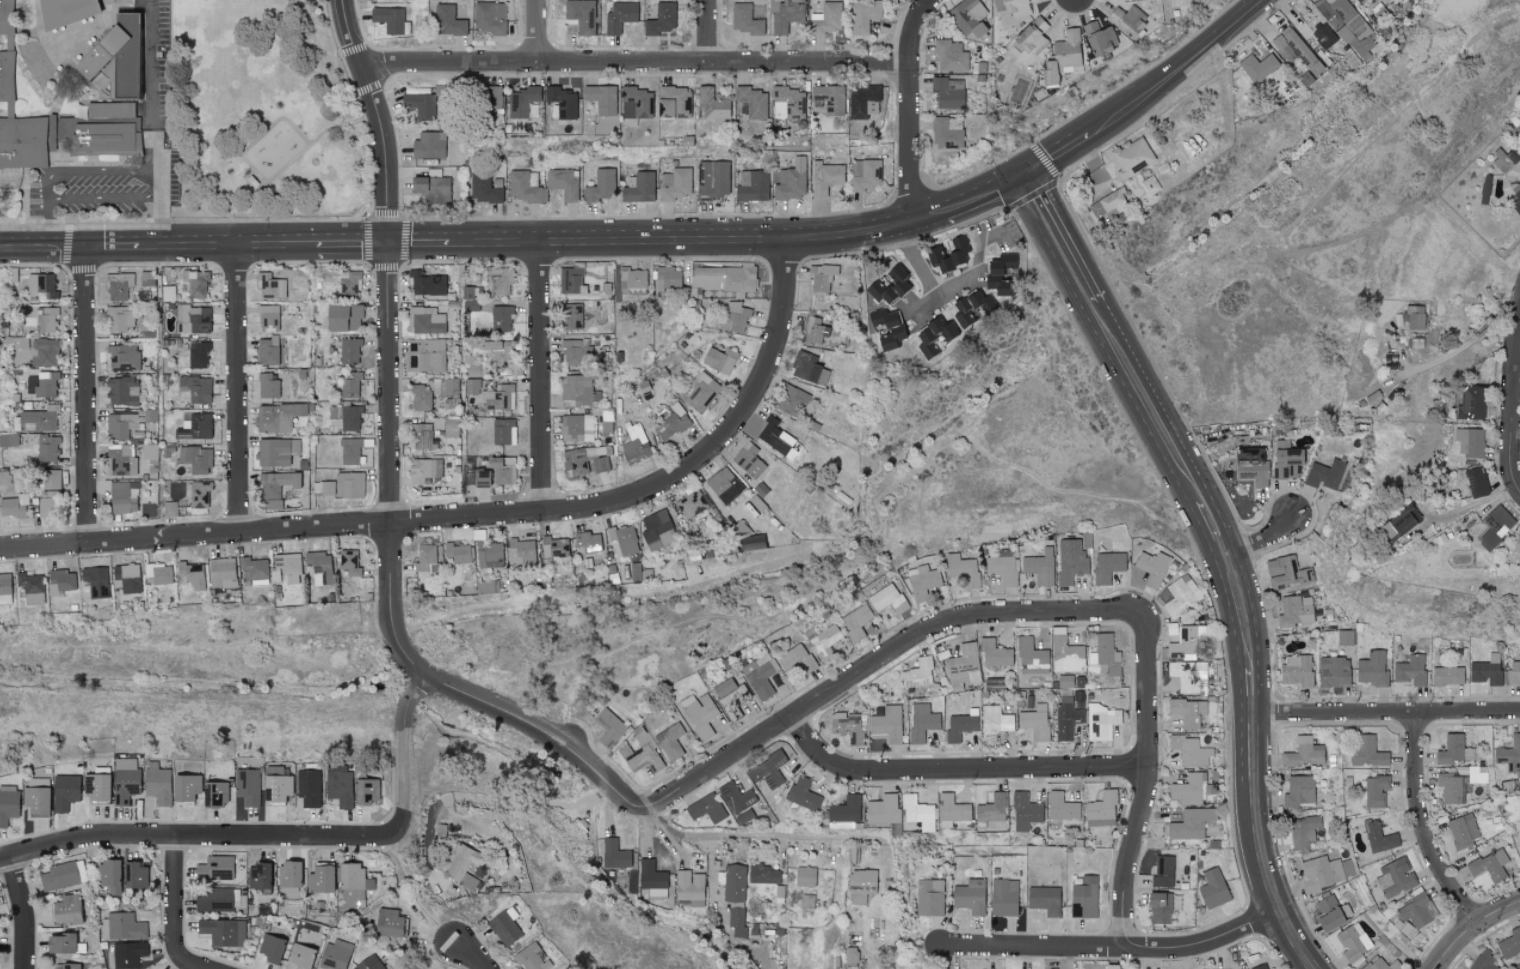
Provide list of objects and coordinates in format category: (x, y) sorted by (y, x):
building: (1360, 0)
building: (1013, 10)
building: (71, 15)
building: (581, 15)
building: (864, 15)
building: (619, 16)
building: (490, 17)
building: (786, 17)
building: (388, 18)
building: (8, 19)
building: (660, 19)
building: (744, 19)
building: (826, 19)
building: (1127, 19)
building: (448, 20)
building: (1353, 28)
road: (541, 30)
road: (708, 30)
building: (1032, 36)
building: (1099, 37)
building: (1294, 48)
building: (950, 55)
building: (1063, 57)
road: (635, 61)
building: (1258, 66)
road: (1180, 69)
building: (9, 80)
road: (151, 90)
building: (946, 95)
building: (601, 99)
building: (828, 100)
building: (522, 101)
building: (562, 102)
building: (673, 102)
building: (752, 102)
building: (864, 102)
building: (636, 103)
building: (788, 103)
building: (419, 104)
building: (492, 104)
road: (911, 106)
building: (713, 107)
park: (262, 112)
building: (90, 113)
road: (378, 118)
building: (1519, 127)
building: (946, 135)
road: (261, 136)
building: (428, 145)
road: (1051, 148)
building: (1131, 156)
building: (1505, 159)
road: (291, 161)
traffic signals: (1017, 169)
road: (101, 173)
building: (866, 174)
building: (712, 179)
building: (825, 179)
building: (251, 180)
building: (562, 183)
building: (675, 184)
building: (790, 184)
building: (599, 185)
building: (752, 186)
building: (484, 187)
building: (523, 187)
building: (430, 188)
building: (638, 188)
road: (964, 193)
road: (104, 200)
building: (1106, 202)
building: (1515, 203)
road: (161, 222)
road: (49, 224)
road: (680, 241)
road: (352, 243)
traffic signals: (388, 243)
road: (417, 243)
road: (201, 245)
road: (24, 247)
road: (67, 247)
building: (948, 254)
building: (999, 273)
building: (822, 276)
building: (144, 278)
building: (632, 278)
building: (668, 278)
building: (500, 280)
building: (571, 281)
building: (349, 282)
building: (42, 284)
building: (426, 284)
building: (118, 285)
building: (196, 285)
building: (272, 286)
building: (889, 286)
road: (946, 294)
building: (972, 307)
building: (570, 316)
building: (342, 317)
building: (1414, 317)
building: (120, 318)
building: (268, 318)
building: (501, 318)
building: (735, 318)
building: (47, 319)
building: (193, 319)
building: (425, 320)
building: (885, 327)
building: (814, 331)
building: (935, 337)
building: (18, 342)
building: (1416, 342)
building: (349, 350)
building: (45, 352)
building: (271, 352)
building: (498, 352)
building: (572, 352)
building: (198, 355)
building: (424, 356)
building: (124, 358)
building: (718, 359)
building: (808, 368)
road: (540, 379)
building: (42, 384)
building: (351, 385)
building: (268, 386)
building: (472, 387)
building: (197, 389)
road: (237, 390)
building: (123, 391)
building: (578, 391)
building: (703, 392)
road: (88, 396)
building: (420, 397)
building: (497, 397)
building: (791, 400)
building: (1471, 403)
building: (346, 417)
building: (37, 421)
building: (671, 421)
building: (120, 425)
road: (1515, 425)
building: (194, 426)
building: (451, 427)
building: (577, 428)
building: (500, 430)
building: (421, 435)
building: (775, 437)
building: (8, 440)
building: (1469, 442)
building: (635, 444)
building: (48, 448)
building: (150, 451)
building: (350, 451)
building: (277, 452)
building: (122, 459)
building: (196, 459)
building: (586, 460)
building: (748, 460)
building: (1286, 461)
building: (1251, 466)
road: (393, 468)
building: (423, 470)
building: (501, 471)
building: (1325, 474)
building: (4, 477)
building: (480, 478)
building: (51, 479)
building: (1476, 482)
building: (349, 485)
building: (724, 485)
building: (277, 488)
building: (324, 488)
building: (199, 494)
building: (123, 497)
building: (46, 503)
building: (691, 504)
building: (11, 508)
road: (479, 520)
building: (1399, 522)
building: (1496, 526)
building: (741, 529)
building: (657, 530)
building: (623, 539)
building: (1086, 540)
road: (1265, 541)
building: (587, 542)
building: (1517, 545)
building: (554, 547)
road: (1225, 551)
building: (458, 553)
building: (521, 553)
building: (489, 555)
building: (426, 558)
building: (1070, 561)
building: (350, 563)
building: (288, 566)
building: (1002, 566)
building: (1040, 566)
building: (1107, 566)
building: (319, 567)
building: (1152, 568)
building: (963, 569)
building: (254, 571)
building: (1286, 572)
building: (222, 573)
building: (158, 574)
building: (190, 575)
building: (126, 578)
building: (61, 581)
building: (95, 581)
building: (922, 582)
building: (31, 588)
building: (5, 589)
building: (1182, 595)
building: (888, 599)
building: (1295, 611)
building: (857, 621)
building: (1345, 637)
building: (824, 641)
building: (1185, 642)
building: (1066, 653)
building: (994, 654)
building: (1031, 657)
building: (797, 659)
building: (1372, 666)
building: (964, 667)
building: (1297, 670)
building: (1410, 670)
building: (1487, 670)
building: (1333, 672)
building: (919, 673)
building: (1514, 673)
building: (1189, 676)
building: (1447, 676)
building: (759, 677)
building: (727, 691)
building: (1188, 711)
road: (1384, 712)
building: (700, 714)
building: (1067, 721)
building: (921, 722)
building: (1102, 722)
building: (995, 723)
building: (888, 724)
building: (847, 727)
building: (959, 727)
building: (609, 728)
road: (770, 735)
building: (671, 741)
building: (1454, 750)
building: (1190, 751)
road: (404, 753)
building: (1304, 753)
building: (1367, 753)
building: (1509, 754)
building: (642, 755)
building: (767, 770)
road: (959, 771)
building: (125, 779)
road: (1146, 782)
building: (157, 783)
building: (277, 784)
building: (247, 786)
building: (1453, 787)
building: (96, 788)
building: (185, 788)
building: (309, 788)
building: (339, 788)
building: (1190, 789)
building: (1299, 791)
building: (1375, 791)
building: (64, 792)
building: (365, 792)
building: (216, 794)
building: (802, 794)
building: (35, 798)
building: (736, 798)
road: (528, 801)
building: (8, 804)
building: (1102, 807)
building: (1062, 808)
building: (706, 809)
building: (992, 809)
building: (952, 810)
building: (885, 811)
building: (1025, 811)
building: (918, 812)
building: (845, 813)
building: (1191, 824)
road: (1418, 825)
road: (662, 832)
building: (1303, 832)
building: (1463, 832)
road: (197, 837)
building: (1378, 837)
road: (764, 840)
building: (1519, 850)
building: (614, 855)
building: (1489, 866)
building: (216, 867)
building: (462, 867)
building: (1163, 872)
building: (1321, 873)
building: (109, 875)
building: (762, 875)
building: (63, 876)
building: (135, 876)
building: (805, 877)
building: (258, 878)
building: (288, 878)
building: (1395, 878)
building: (652, 879)
building: (320, 880)
building: (734, 883)
building: (352, 885)
building: (861, 885)
building: (688, 886)
building: (1213, 889)
building: (969, 897)
building: (930, 898)
building: (1003, 898)
building: (1084, 898)
building: (215, 900)
building: (1044, 900)
building: (1326, 903)
building: (1159, 908)
building: (66, 910)
road: (178, 910)
building: (1418, 910)
road: (25, 913)
building: (1333, 918)
building: (737, 921)
building: (388, 924)
building: (123, 927)
building: (504, 928)
building: (1404, 928)
road: (1470, 928)
building: (223, 932)
building: (306, 941)
building: (1353, 942)
building: (61, 944)
building: (270, 948)
road: (1113, 948)
road: (471, 954)
building: (129, 955)
building: (335, 955)
building: (851, 955)
building: (301, 957)
building: (531, 957)
building: (1483, 960)
building: (369, 963)
building: (1378, 964)
building: (66, 966)
building: (1112, 966)
building: (1261, 967)

